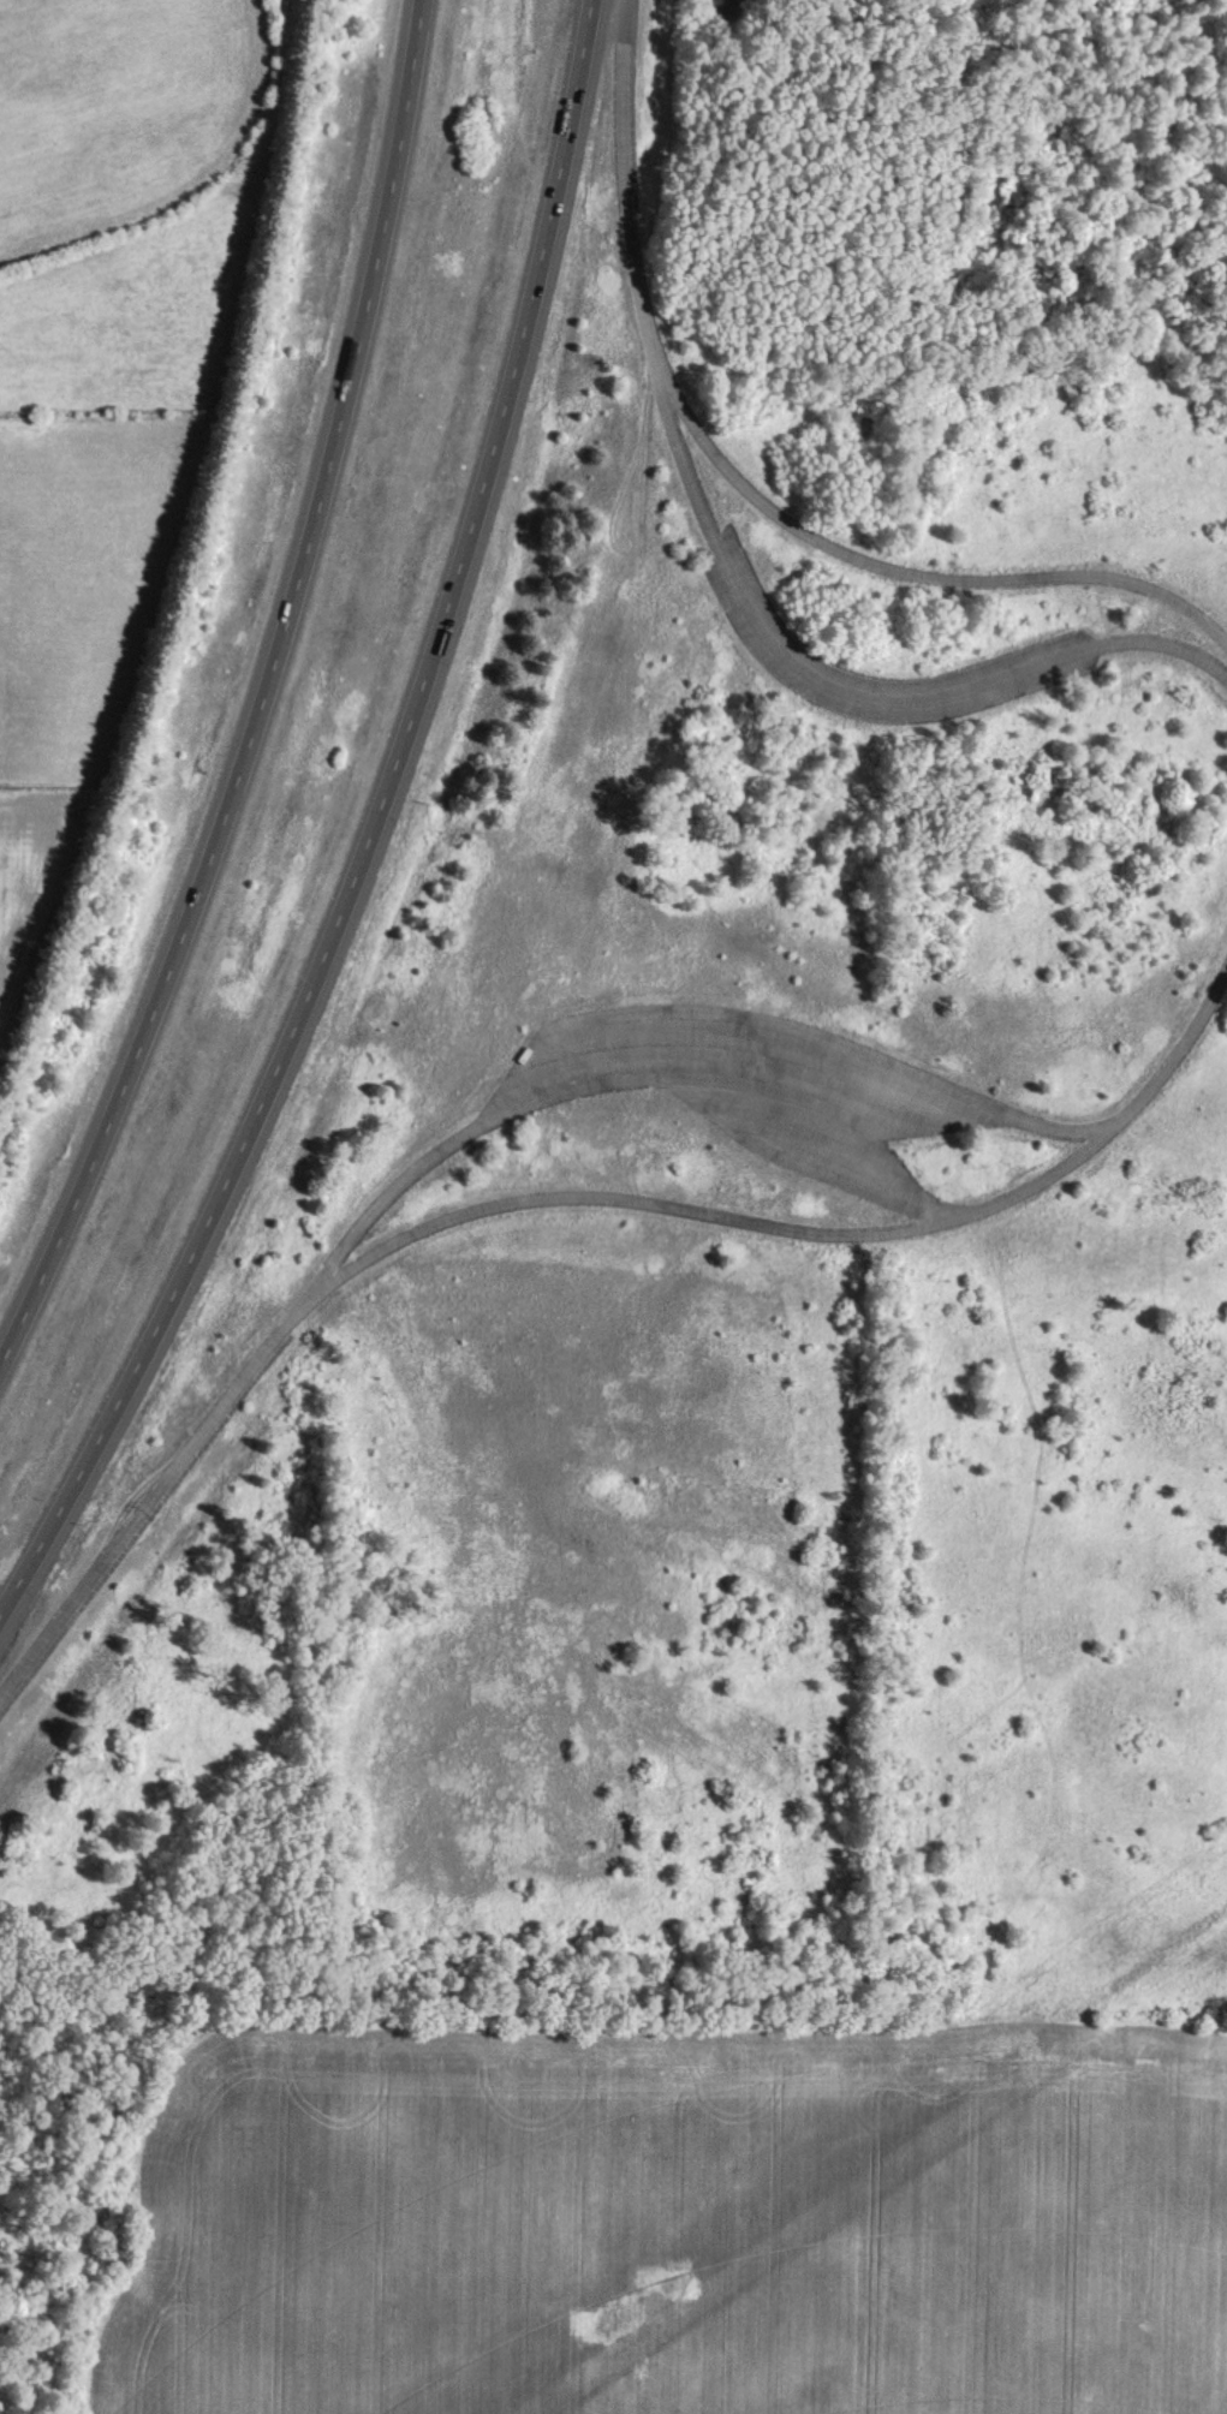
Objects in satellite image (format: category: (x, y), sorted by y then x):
road: (627, 179)
road: (905, 571)
road: (851, 680)
road: (264, 702)
road: (371, 835)
road: (677, 1067)
road: (809, 1230)
road: (192, 1448)
road: (38, 1655)

